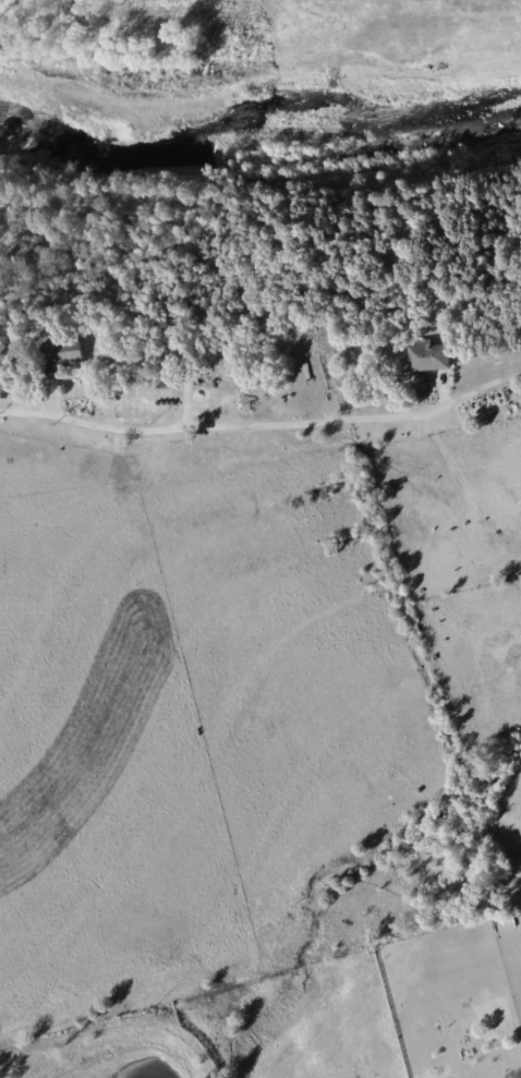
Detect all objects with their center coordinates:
river: (259, 138)
building: (71, 352)
building: (429, 355)
road: (252, 425)

